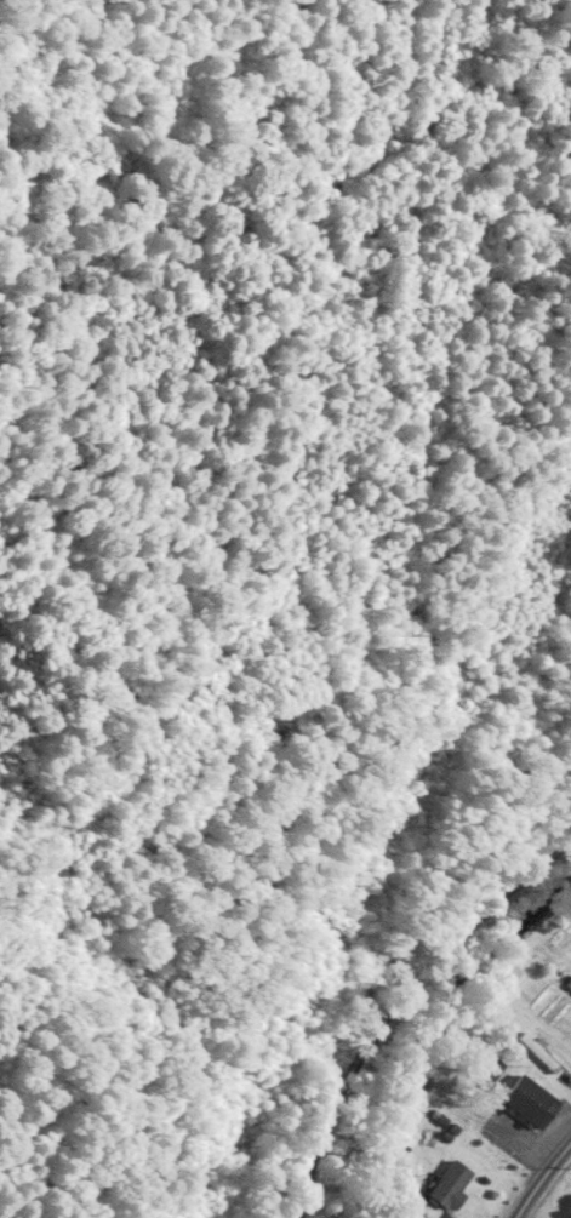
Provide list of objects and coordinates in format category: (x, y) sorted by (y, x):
building: (569, 988)
building: (526, 1103)
road: (542, 1178)
building: (445, 1185)

